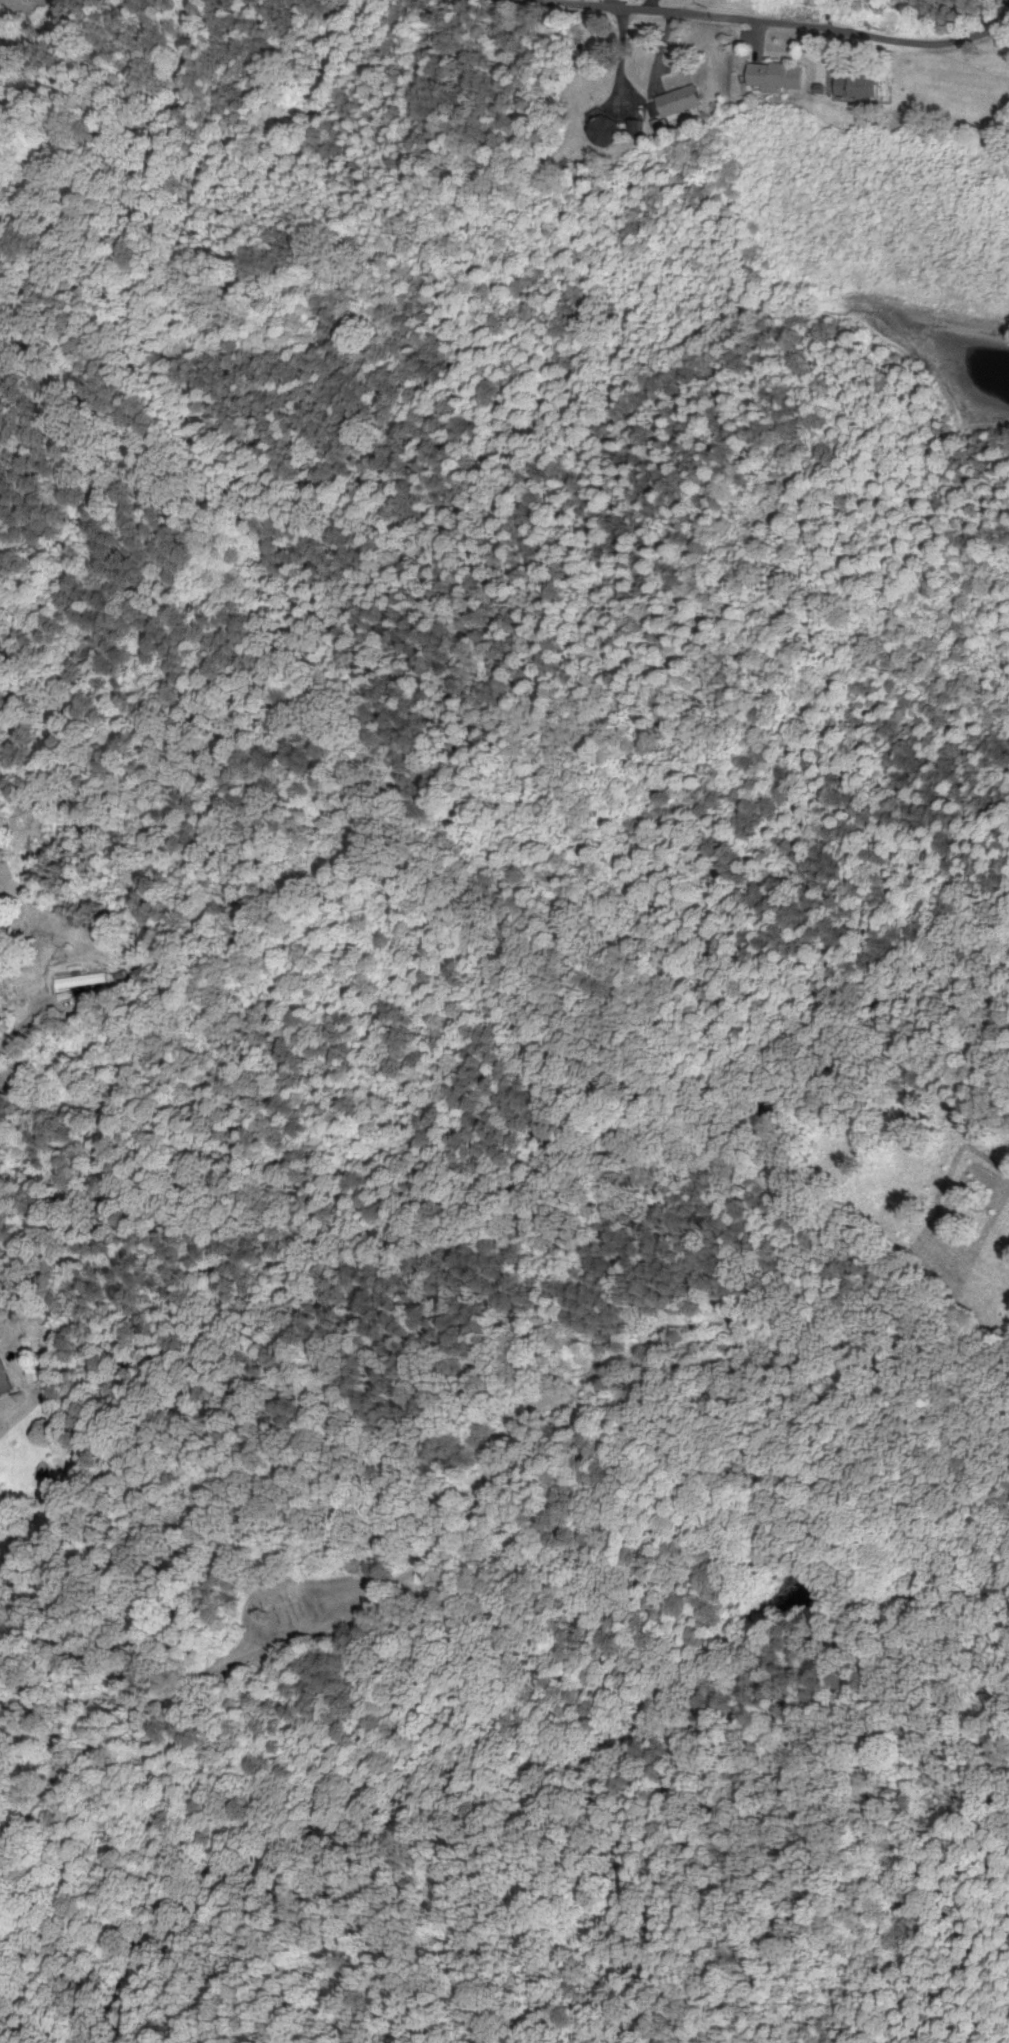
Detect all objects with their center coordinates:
road: (704, 16)
road: (960, 40)
road: (757, 41)
road: (660, 52)
road: (618, 59)
building: (777, 77)
building: (860, 85)
building: (681, 102)
building: (85, 982)
building: (3, 1375)
road: (111, 1706)

